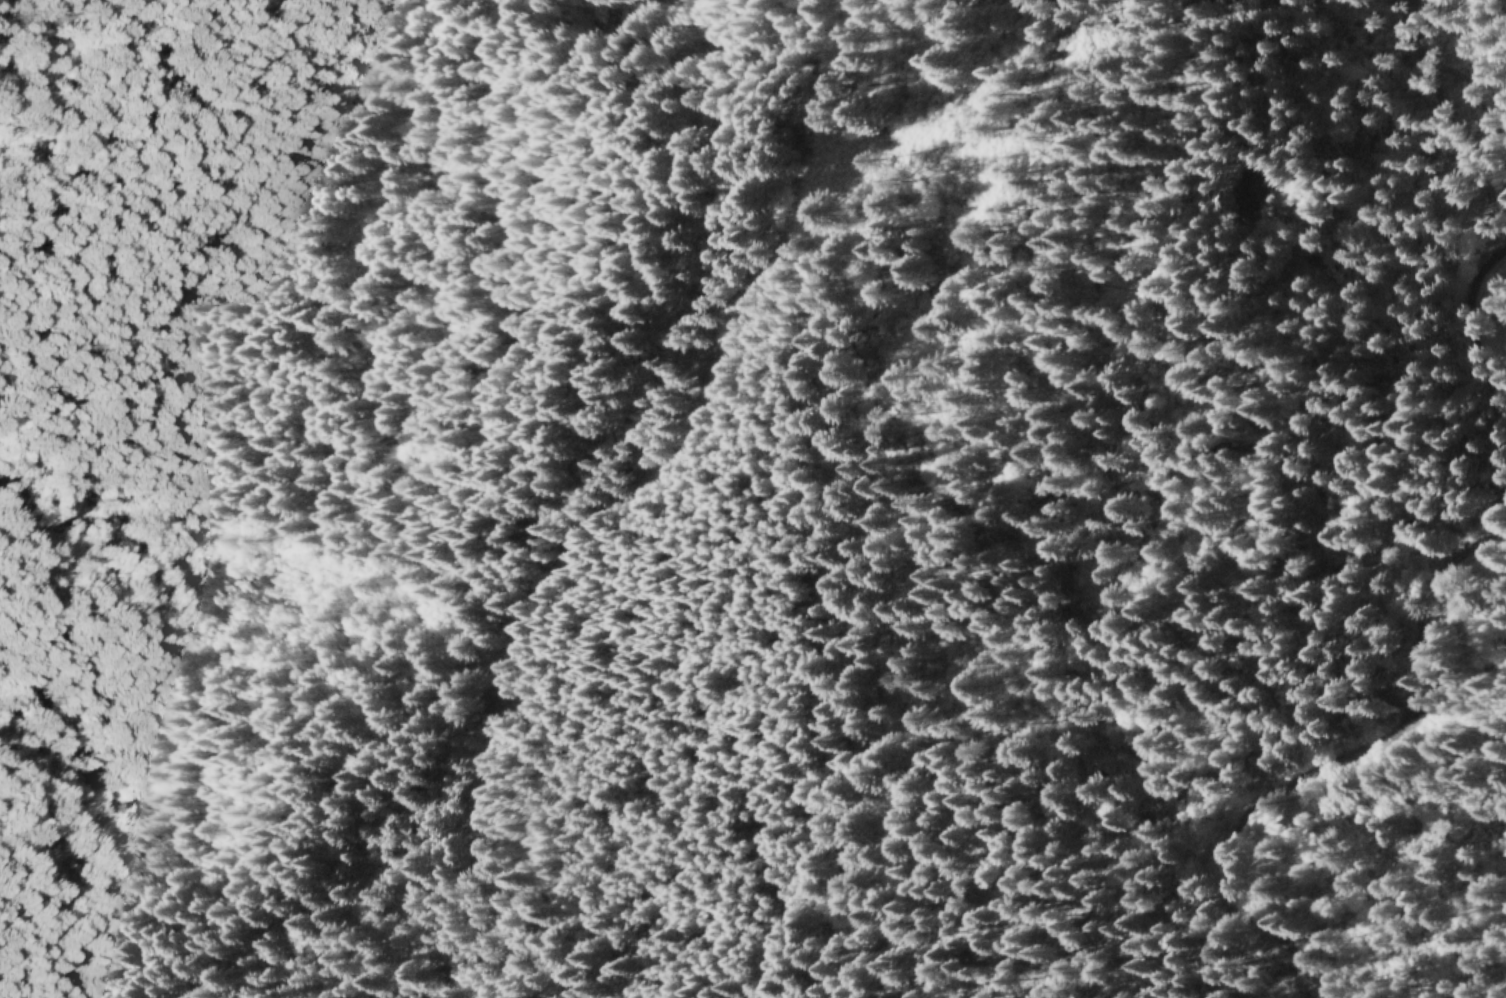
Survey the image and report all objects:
road: (12, 16)

